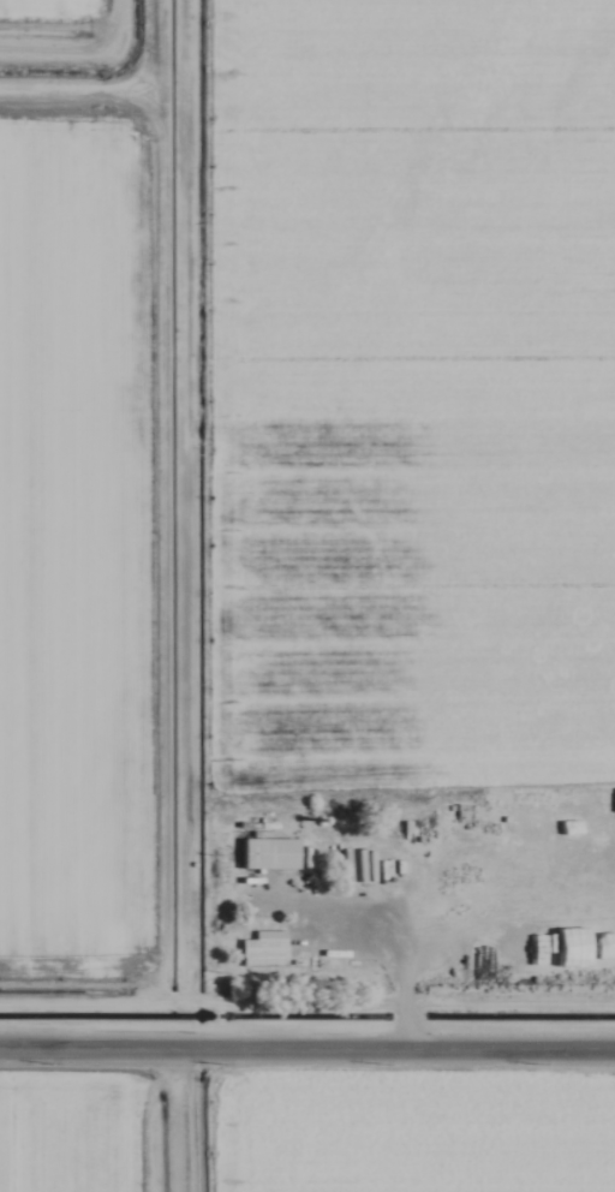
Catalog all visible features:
building: (268, 853)
building: (262, 949)
road: (307, 1081)

